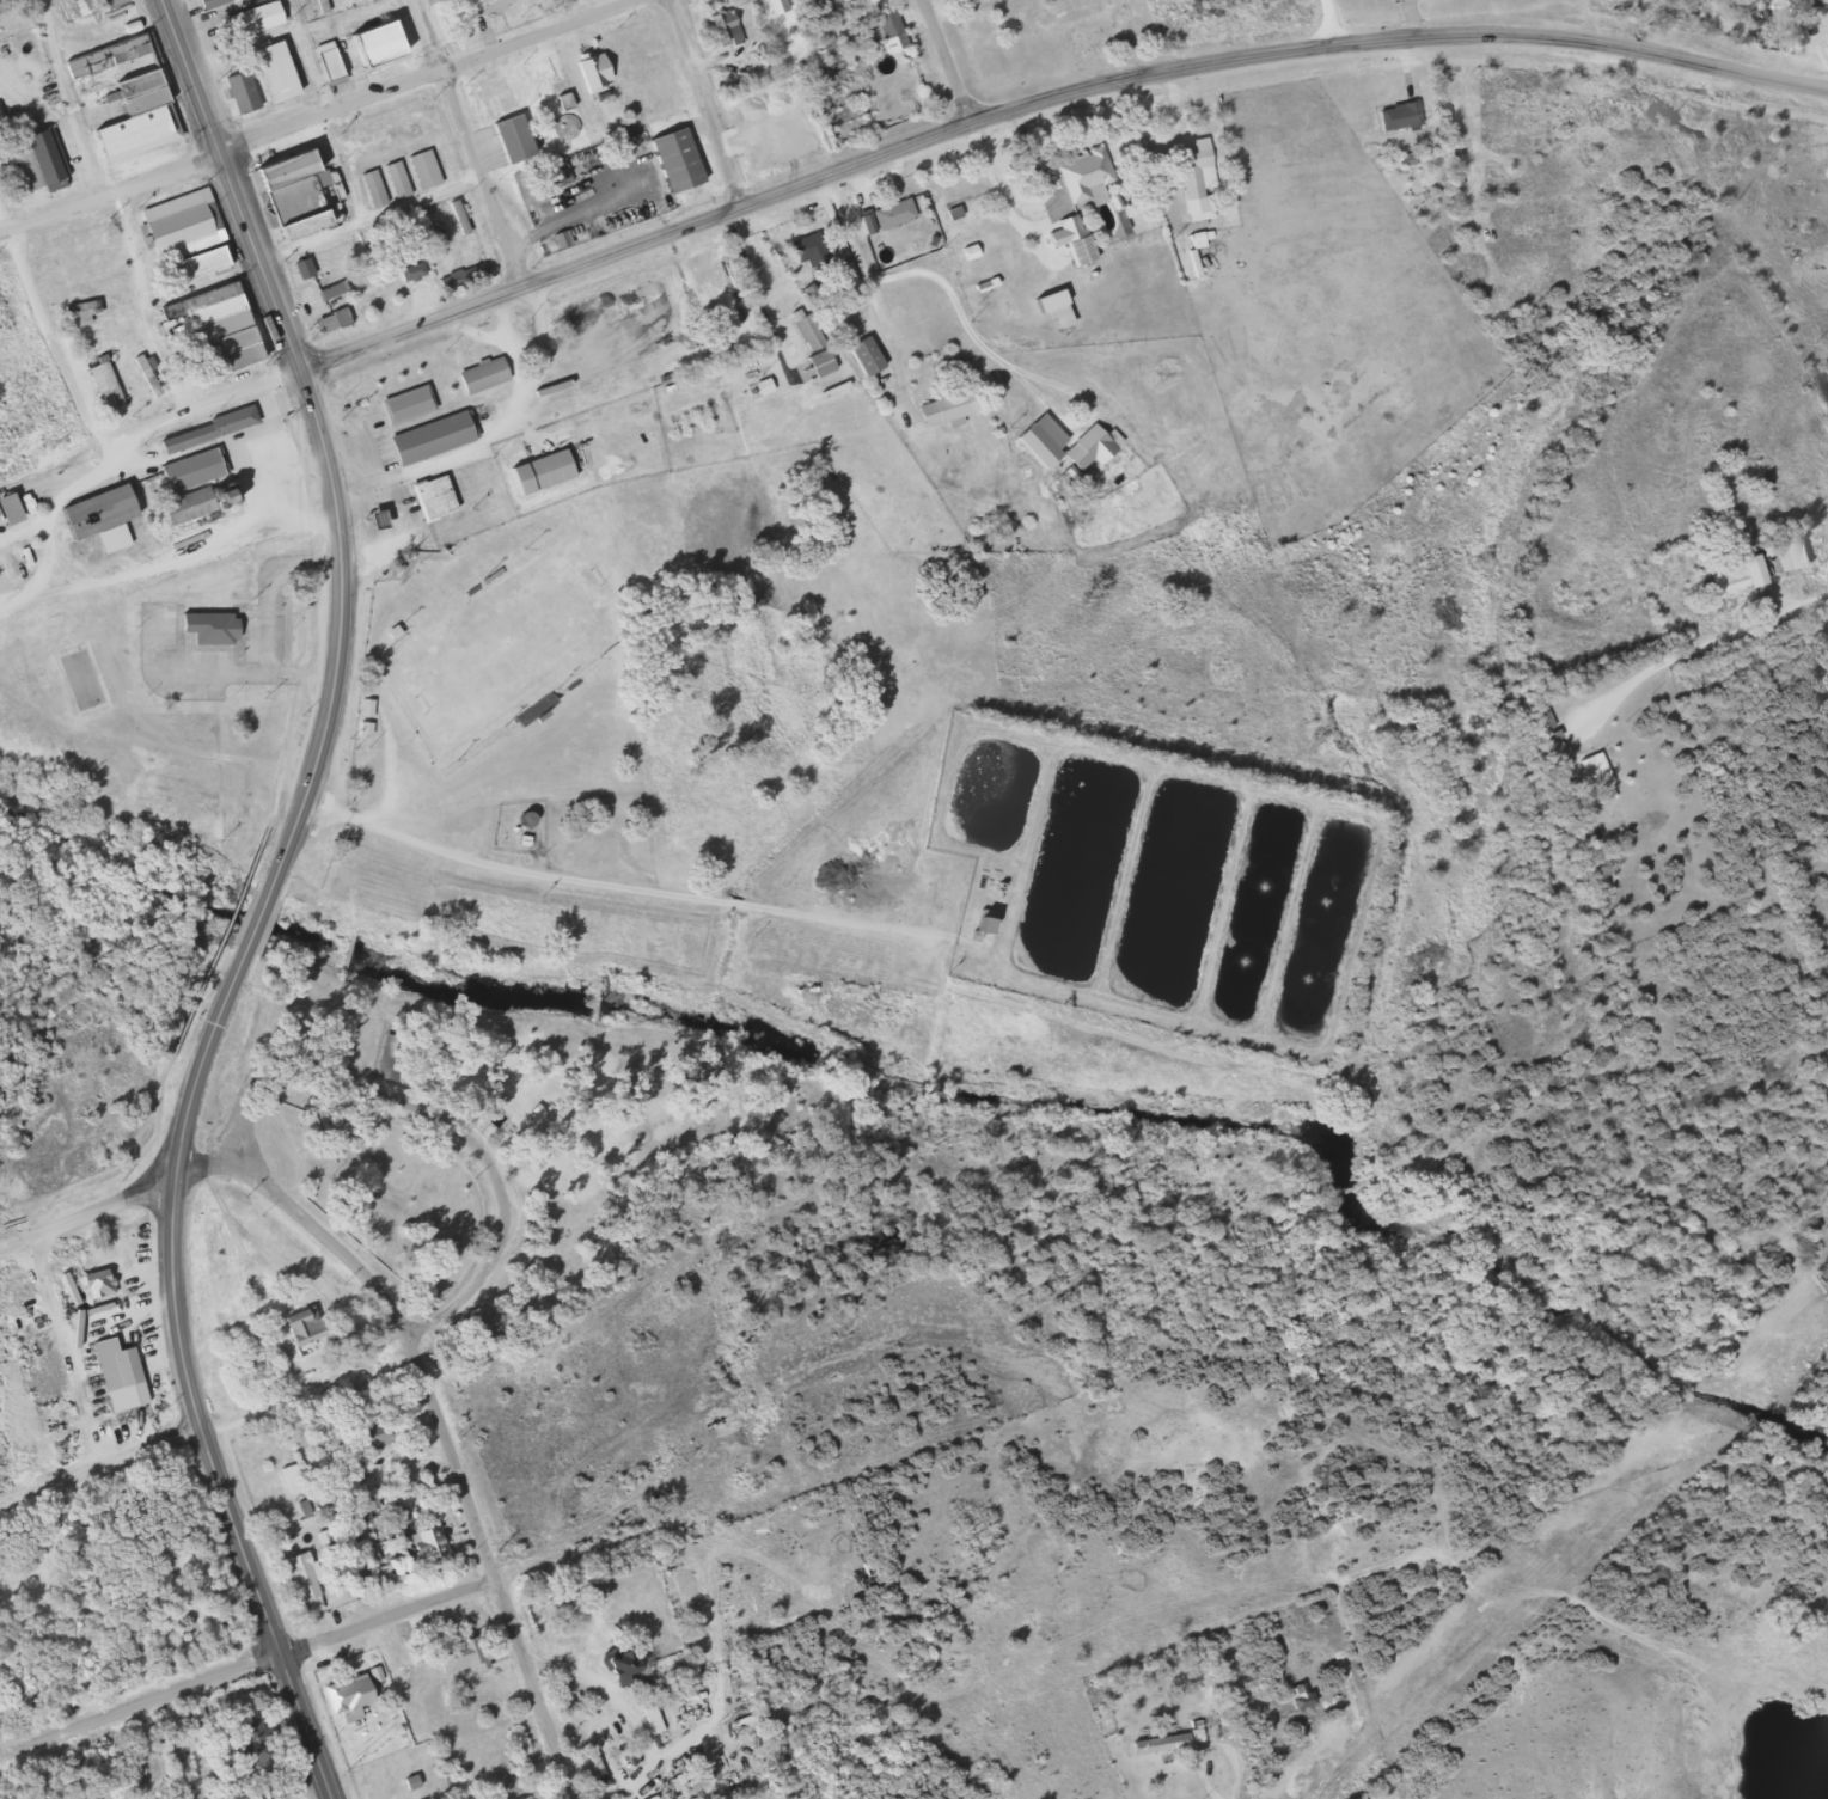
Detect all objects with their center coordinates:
building: (830, 0)
building: (81, 2)
building: (318, 2)
building: (208, 4)
building: (476, 4)
building: (772, 4)
road: (1326, 13)
building: (250, 14)
building: (720, 19)
building: (885, 23)
road: (1167, 27)
road: (1392, 32)
building: (374, 38)
building: (823, 42)
building: (103, 51)
building: (323, 54)
road: (941, 55)
building: (587, 62)
building: (271, 67)
building: (237, 87)
building: (135, 88)
road: (699, 97)
building: (1393, 108)
road: (302, 109)
building: (509, 131)
road: (460, 139)
building: (35, 151)
building: (673, 152)
building: (285, 169)
building: (420, 169)
building: (1081, 169)
building: (1191, 170)
building: (551, 173)
building: (392, 179)
road: (231, 180)
building: (369, 188)
building: (289, 194)
building: (882, 206)
building: (948, 206)
building: (171, 214)
building: (456, 216)
road: (1, 219)
road: (1, 222)
building: (299, 222)
building: (1072, 232)
building: (81, 233)
road: (629, 233)
building: (805, 237)
building: (965, 243)
building: (808, 253)
building: (298, 258)
building: (405, 261)
building: (195, 262)
building: (456, 269)
building: (980, 275)
building: (328, 283)
road: (867, 283)
building: (326, 289)
building: (77, 304)
building: (1057, 305)
building: (328, 316)
building: (803, 323)
road: (965, 323)
railway: (903, 325)
building: (220, 326)
building: (860, 344)
building: (817, 362)
building: (477, 365)
building: (143, 368)
building: (99, 377)
road: (1031, 387)
building: (402, 394)
building: (946, 397)
building: (230, 412)
building: (427, 426)
road: (90, 429)
building: (201, 430)
building: (1084, 436)
building: (188, 461)
building: (538, 464)
building: (428, 497)
gas station: (406, 500)
building: (183, 506)
building: (88, 514)
building: (1787, 549)
building: (1724, 573)
road: (295, 593)
road: (283, 602)
building: (206, 620)
road: (332, 624)
park: (500, 636)
road: (1694, 645)
building: (1539, 720)
building: (1594, 776)
wastewater plant: (1150, 876)
road: (249, 913)
road: (214, 928)
building: (399, 1054)
road: (219, 1100)
road: (457, 1124)
park: (442, 1125)
road: (121, 1161)
road: (86, 1214)
building: (91, 1277)
building: (104, 1285)
building: (299, 1321)
building: (116, 1366)
road: (183, 1379)
road: (212, 1413)
road: (446, 1414)
building: (378, 1434)
building: (298, 1479)
building: (432, 1546)
building: (311, 1577)
building: (458, 1652)
road: (250, 1668)
building: (1295, 1694)
building: (360, 1695)
building: (648, 1719)
building: (1162, 1740)
building: (261, 1744)
building: (595, 1767)
building: (516, 1797)

